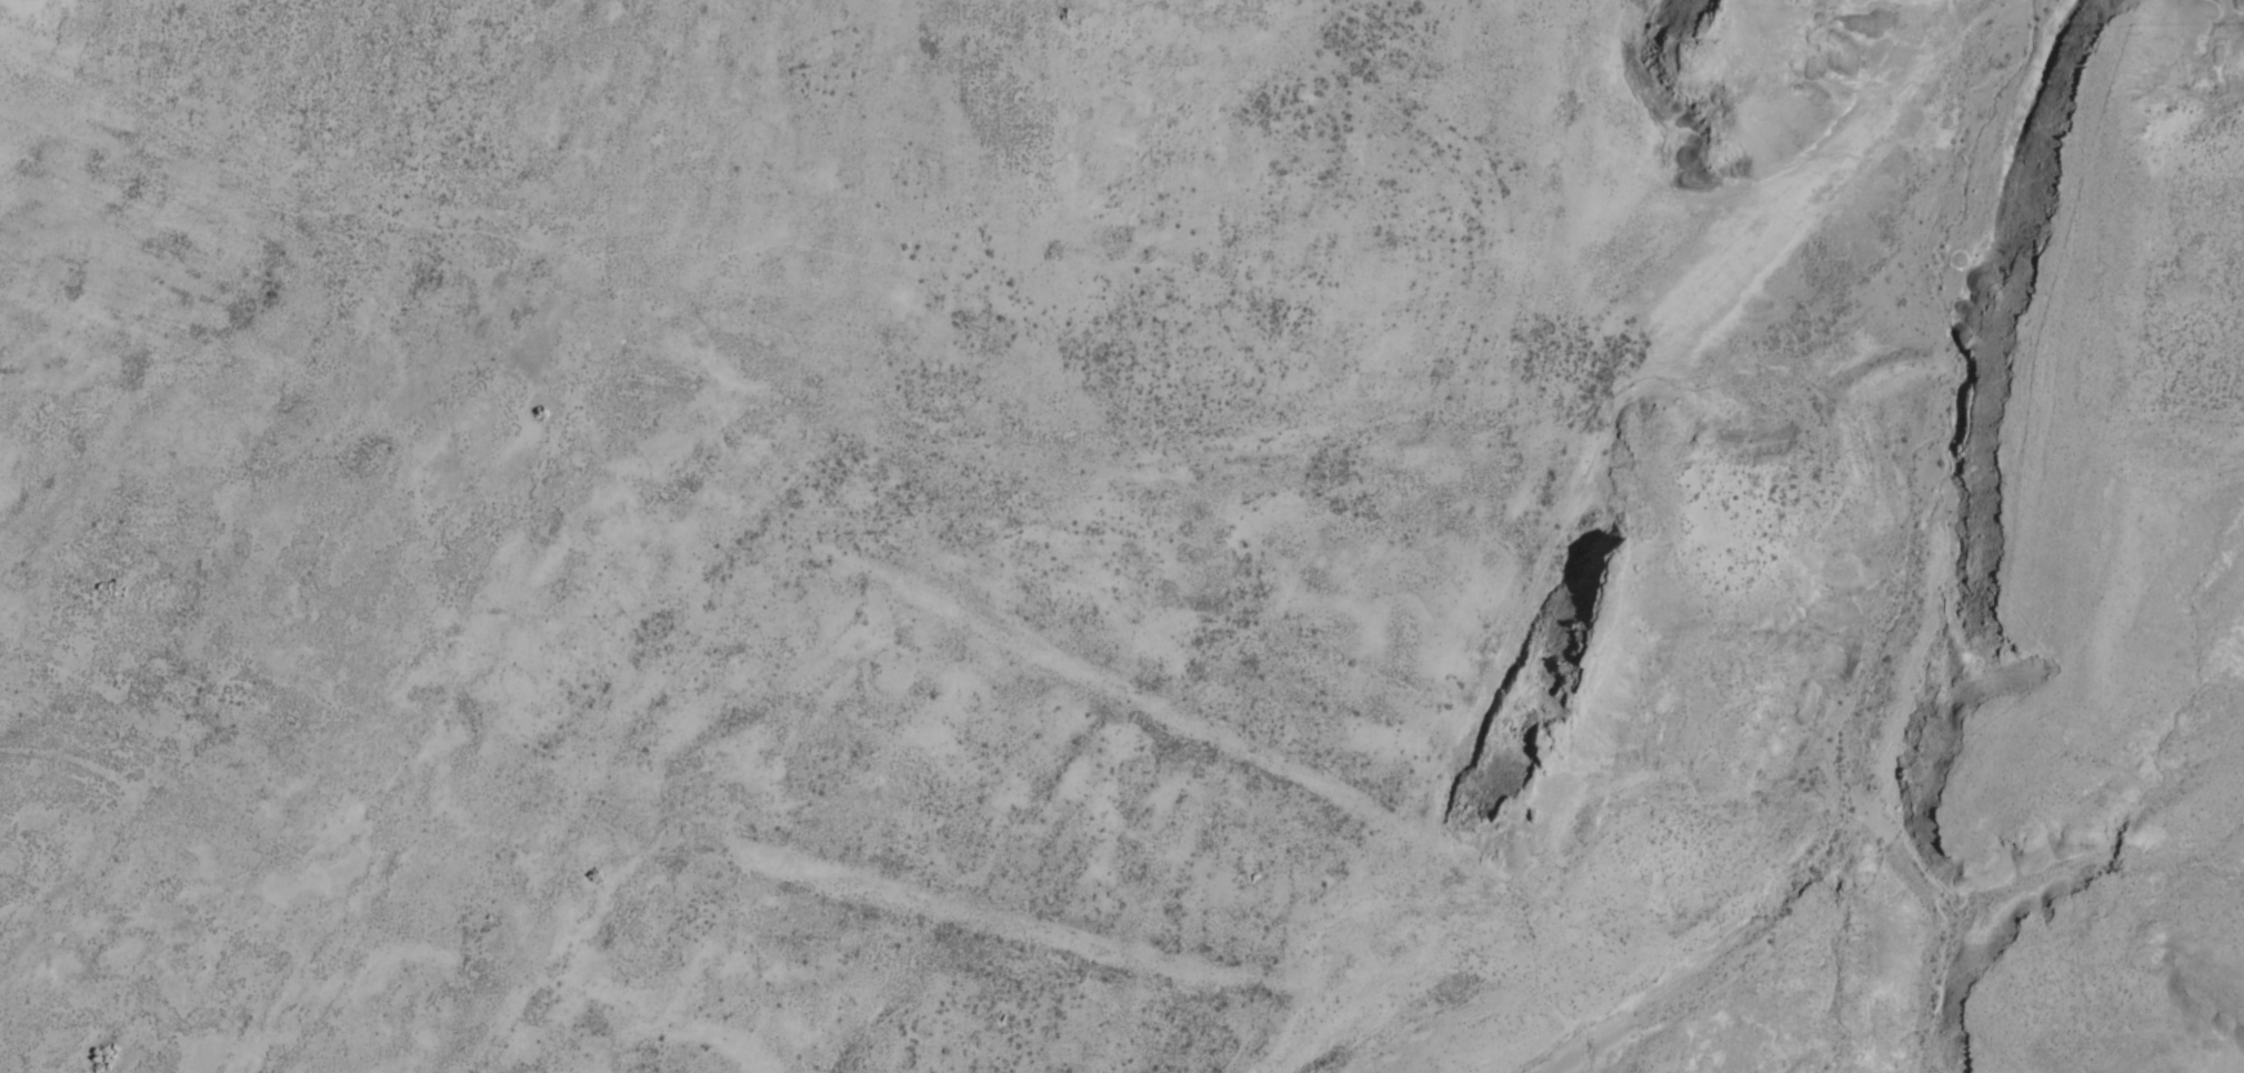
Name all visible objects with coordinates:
quarry: (202, 974)

